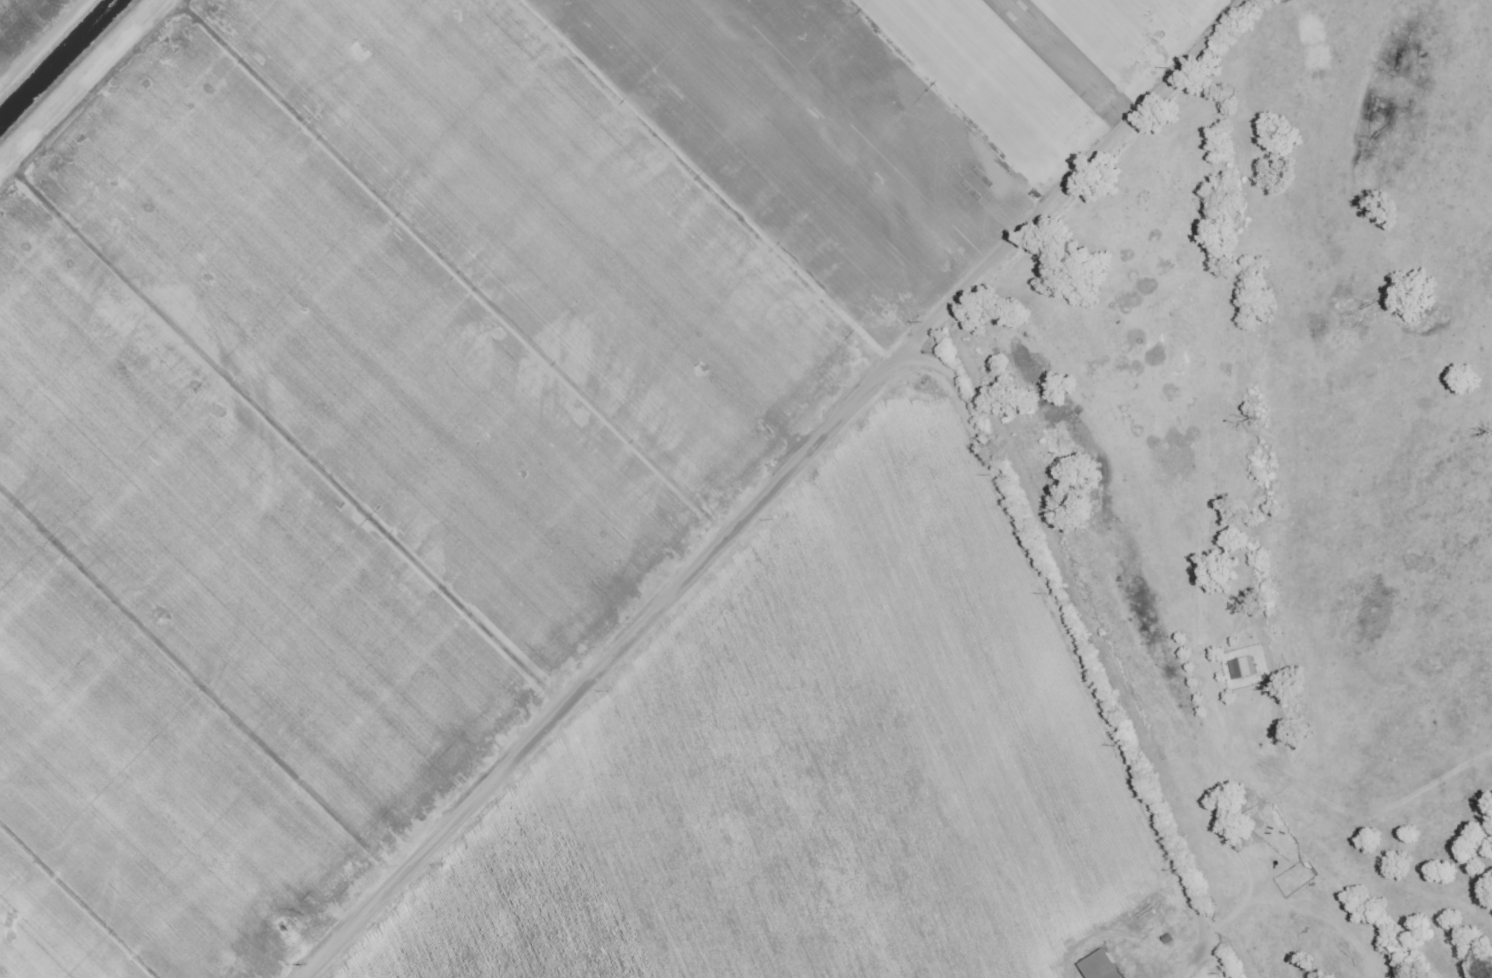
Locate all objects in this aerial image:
road: (45, 47)
road: (1078, 175)
road: (895, 406)
road: (947, 412)
road: (929, 467)
road: (641, 722)
road: (1102, 726)

